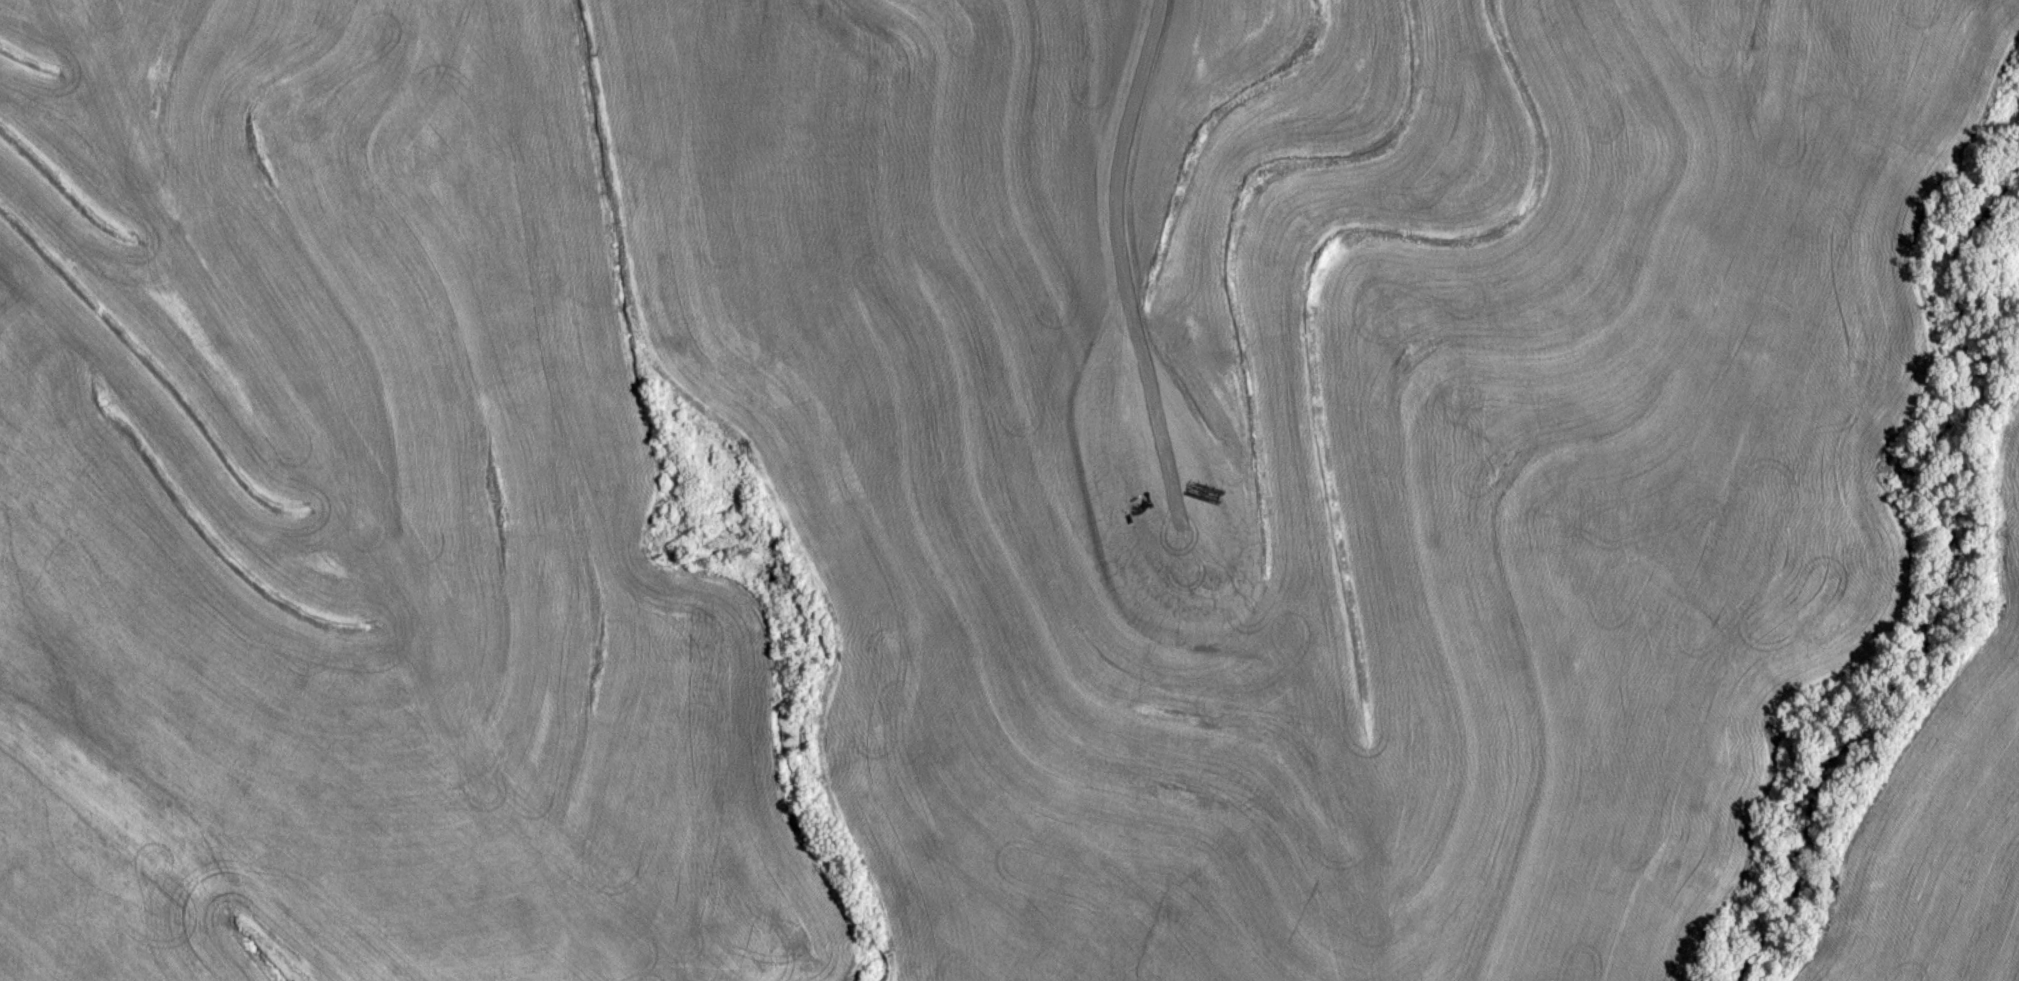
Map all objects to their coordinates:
wind turbine: (1196, 556)

